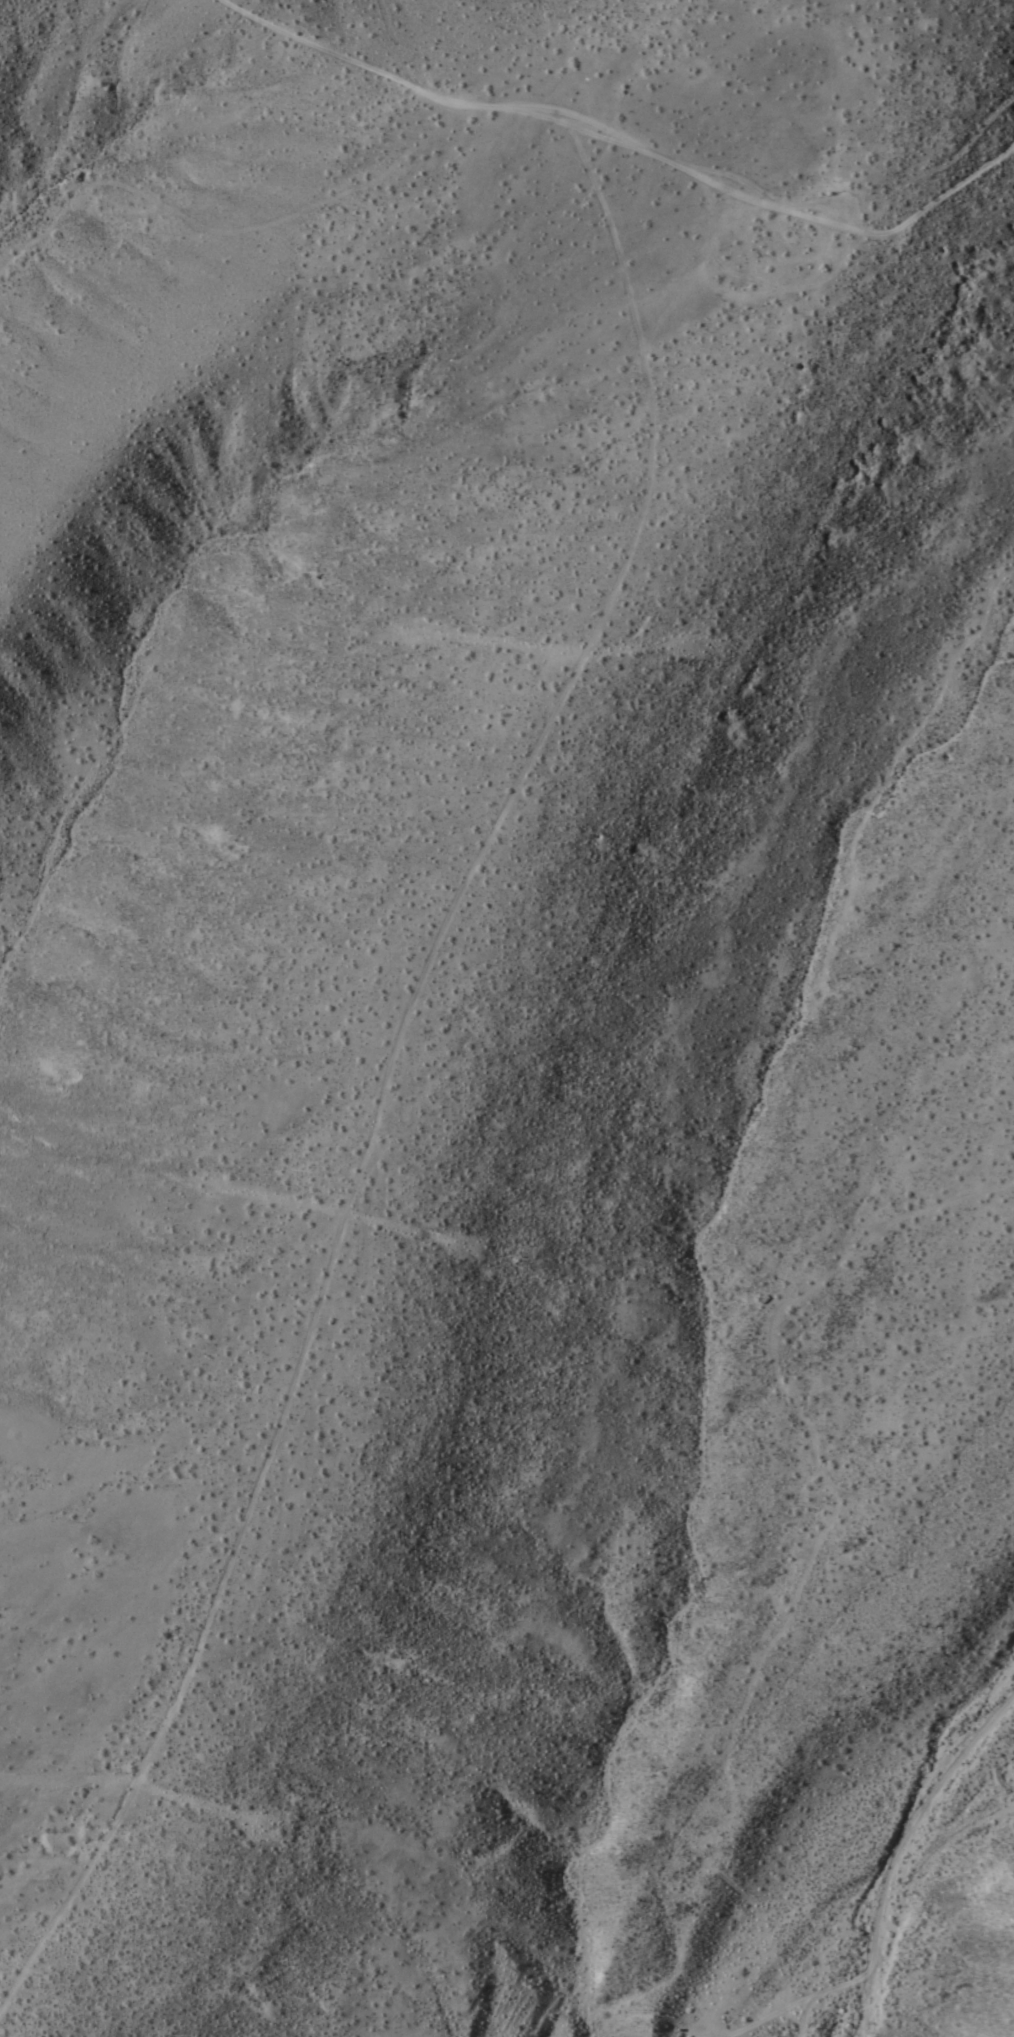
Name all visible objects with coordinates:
road: (628, 141)
mineshaft: (799, 366)
road: (911, 1819)
road: (898, 1910)
road: (740, 2030)
road: (716, 2036)

